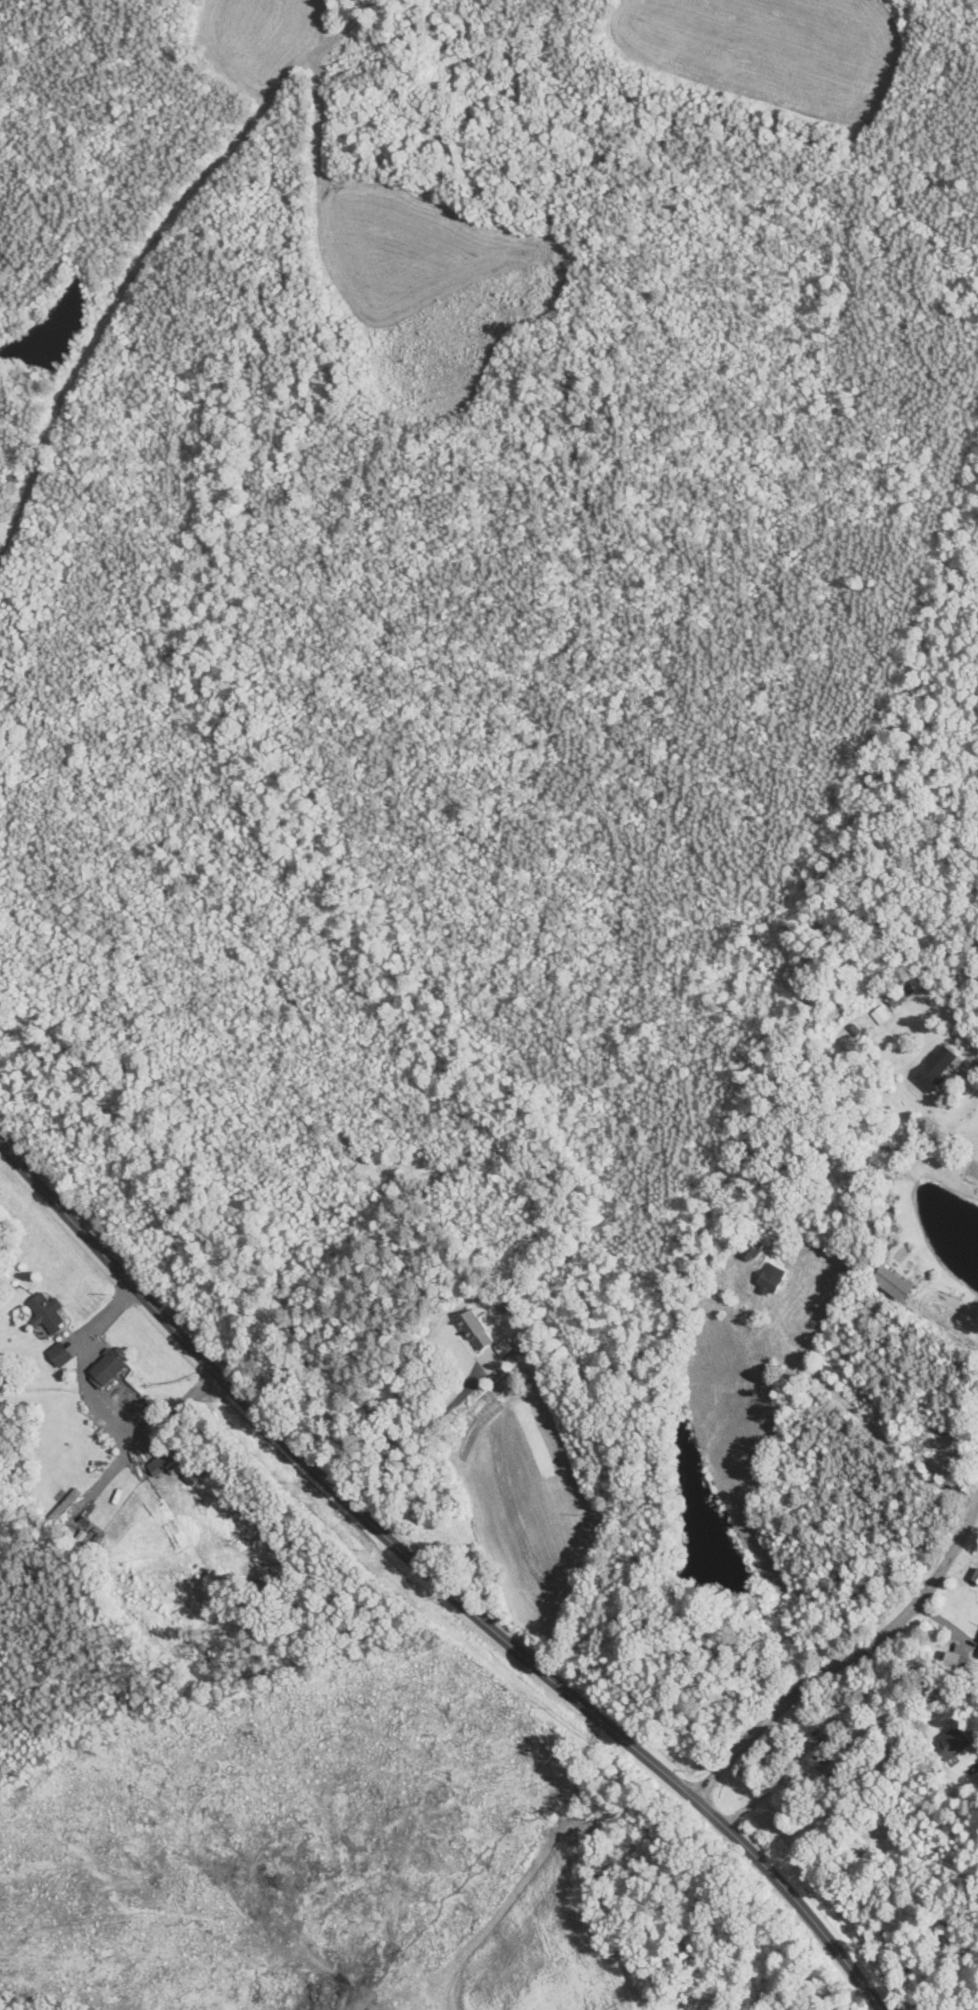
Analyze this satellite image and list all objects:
building: (13, 479)
building: (922, 980)
building: (937, 1067)
road: (976, 1079)
building: (771, 1278)
building: (894, 1282)
building: (506, 1300)
building: (49, 1312)
building: (476, 1329)
road: (947, 1330)
building: (60, 1354)
building: (109, 1367)
road: (80, 1368)
road: (180, 1411)
road: (423, 1431)
road: (439, 1579)
building: (977, 1652)
road: (859, 1655)
building: (960, 1660)
road: (901, 1693)
building: (953, 1743)
building: (826, 1766)

